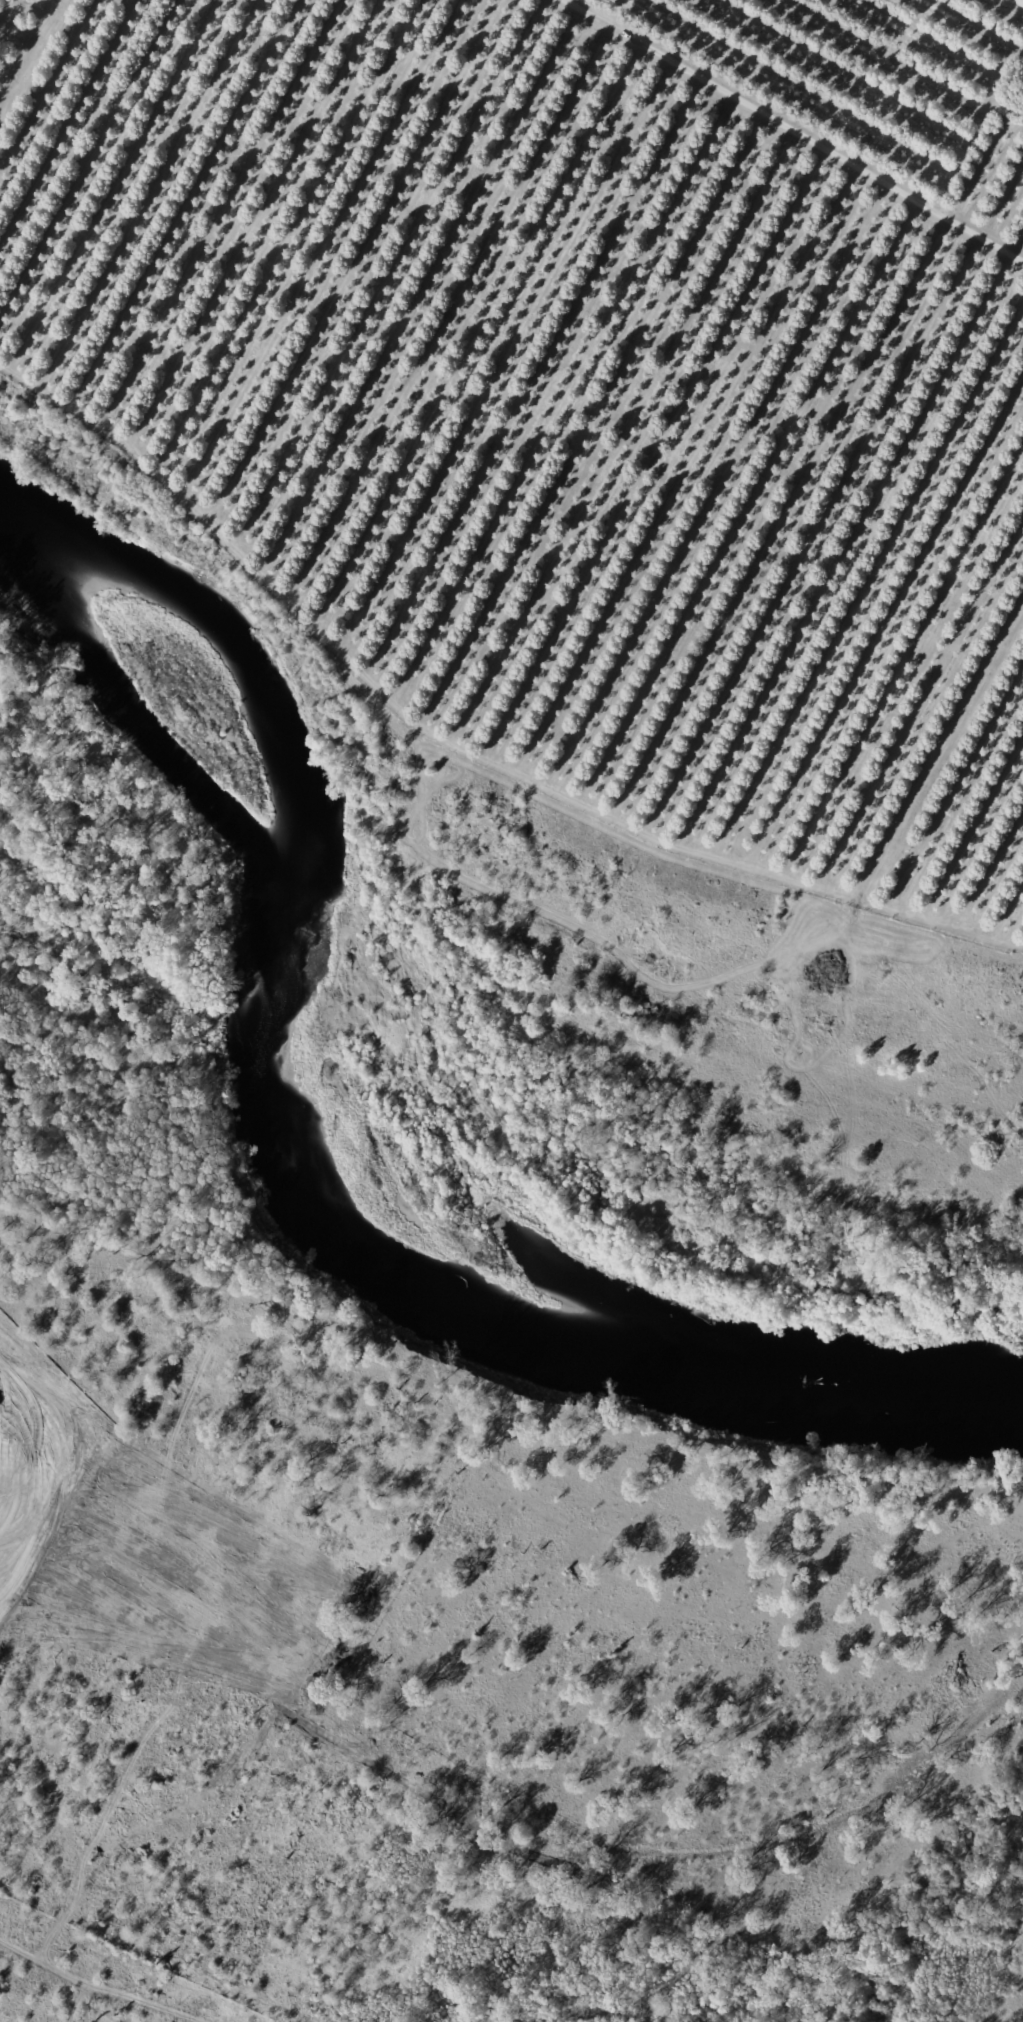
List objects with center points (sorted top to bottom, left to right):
road: (796, 128)
river: (295, 1158)

